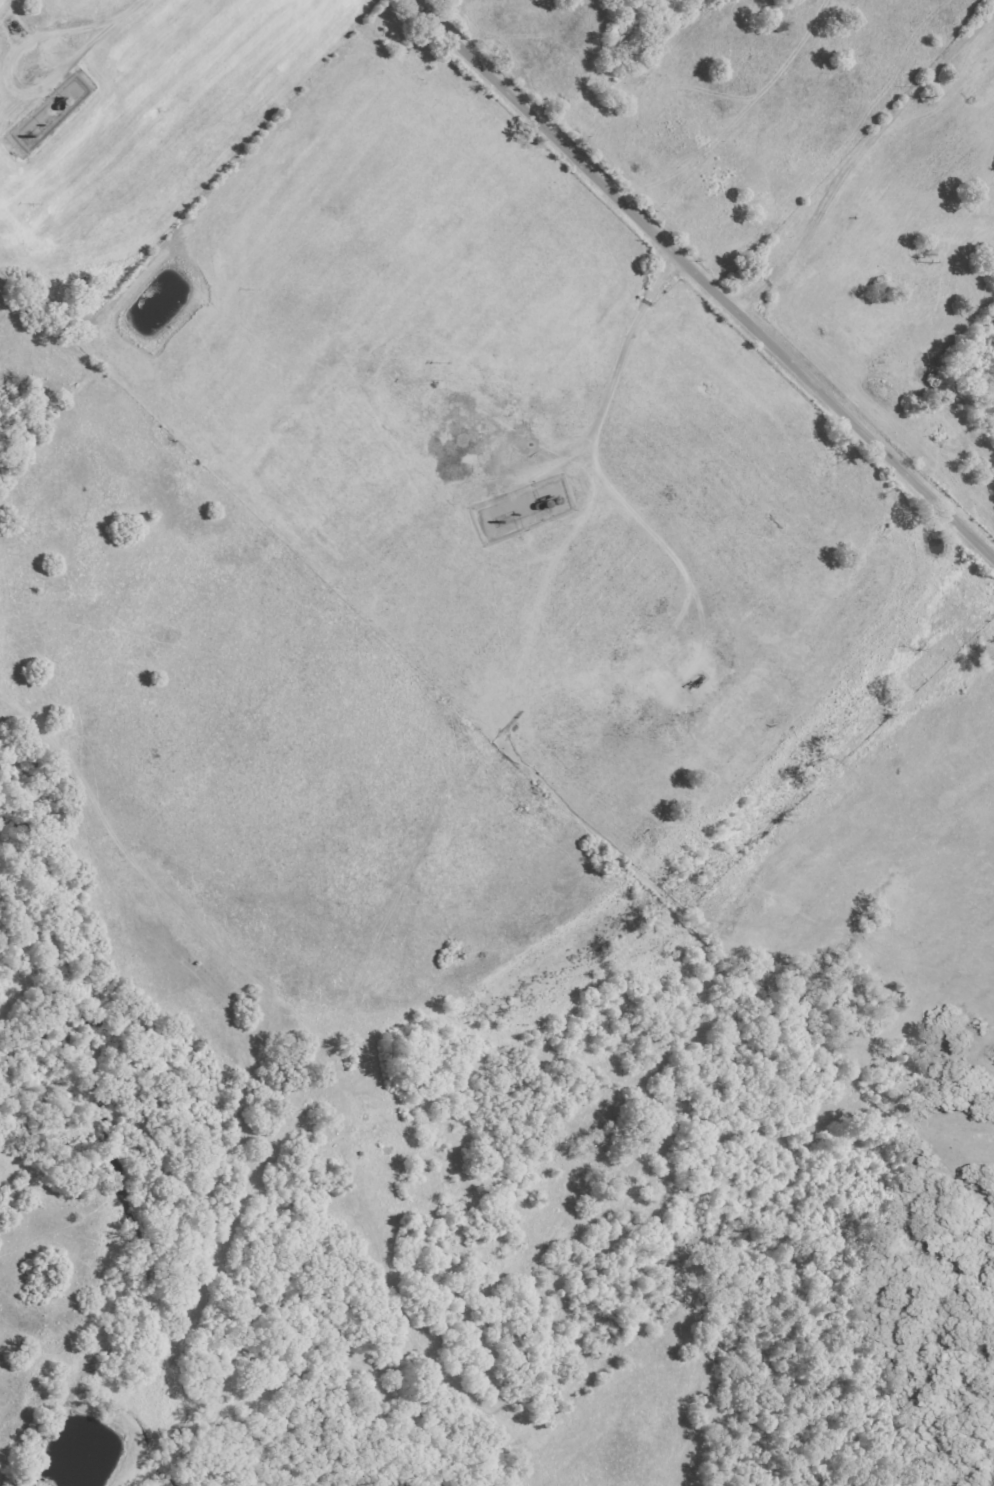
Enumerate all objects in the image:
petroleum well: (17, 27)
road: (704, 281)
petroleum well: (695, 683)
road: (317, 1064)

